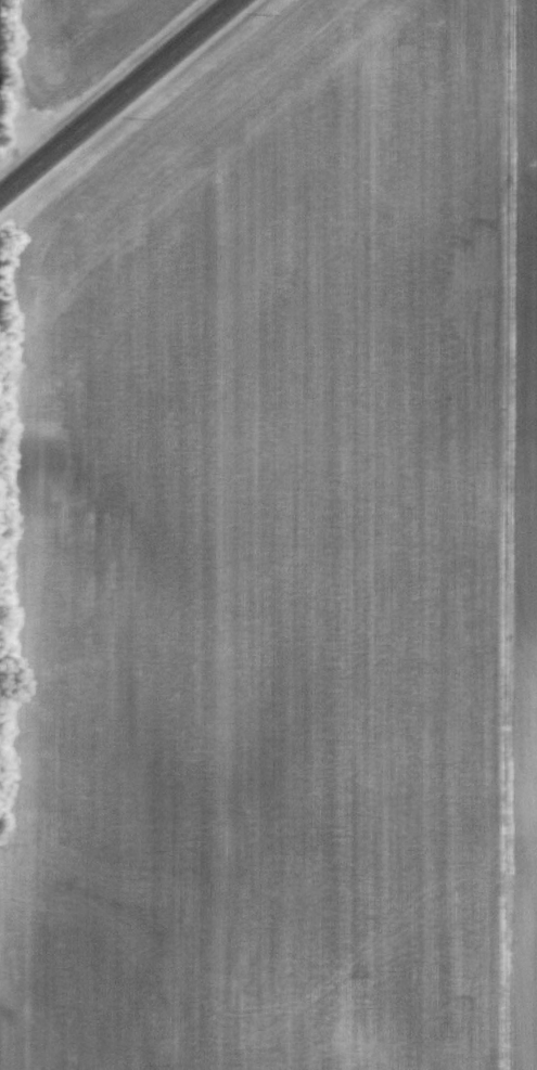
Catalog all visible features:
road: (116, 96)

